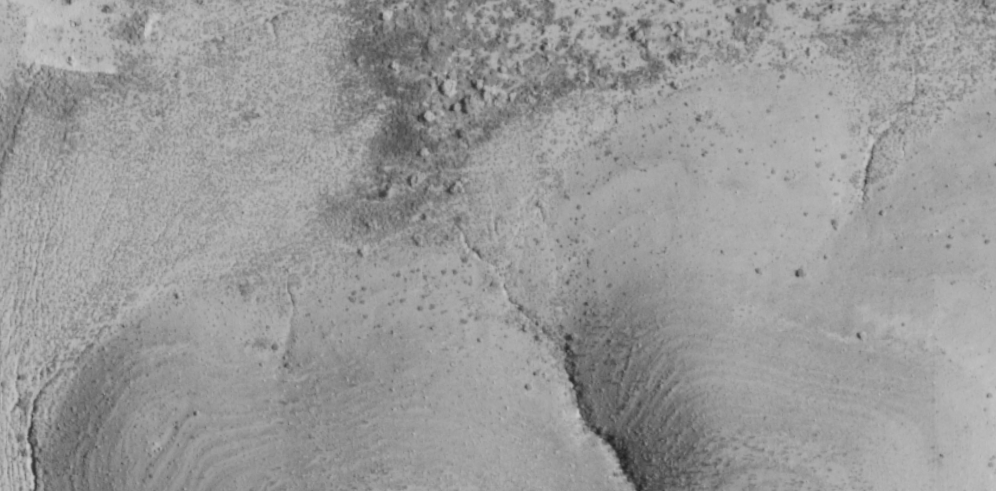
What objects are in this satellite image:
road: (47, 6)

